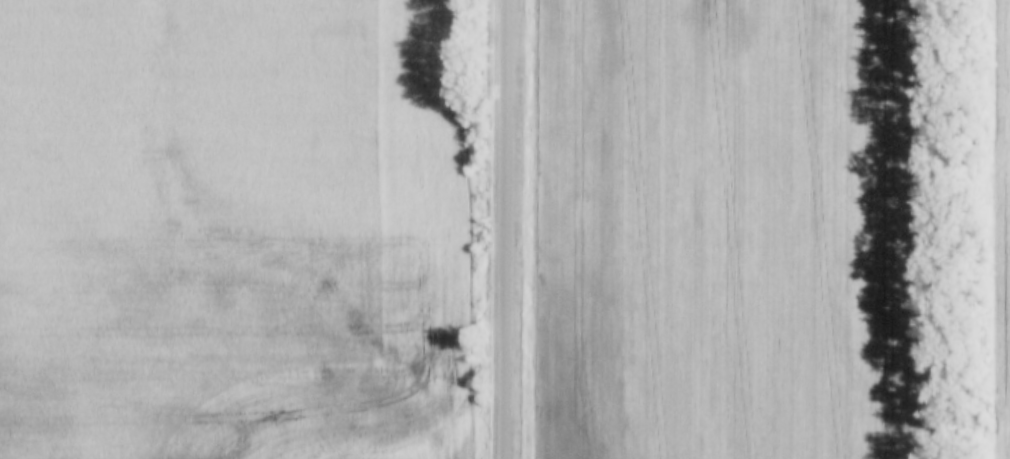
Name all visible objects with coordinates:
road: (505, 229)

